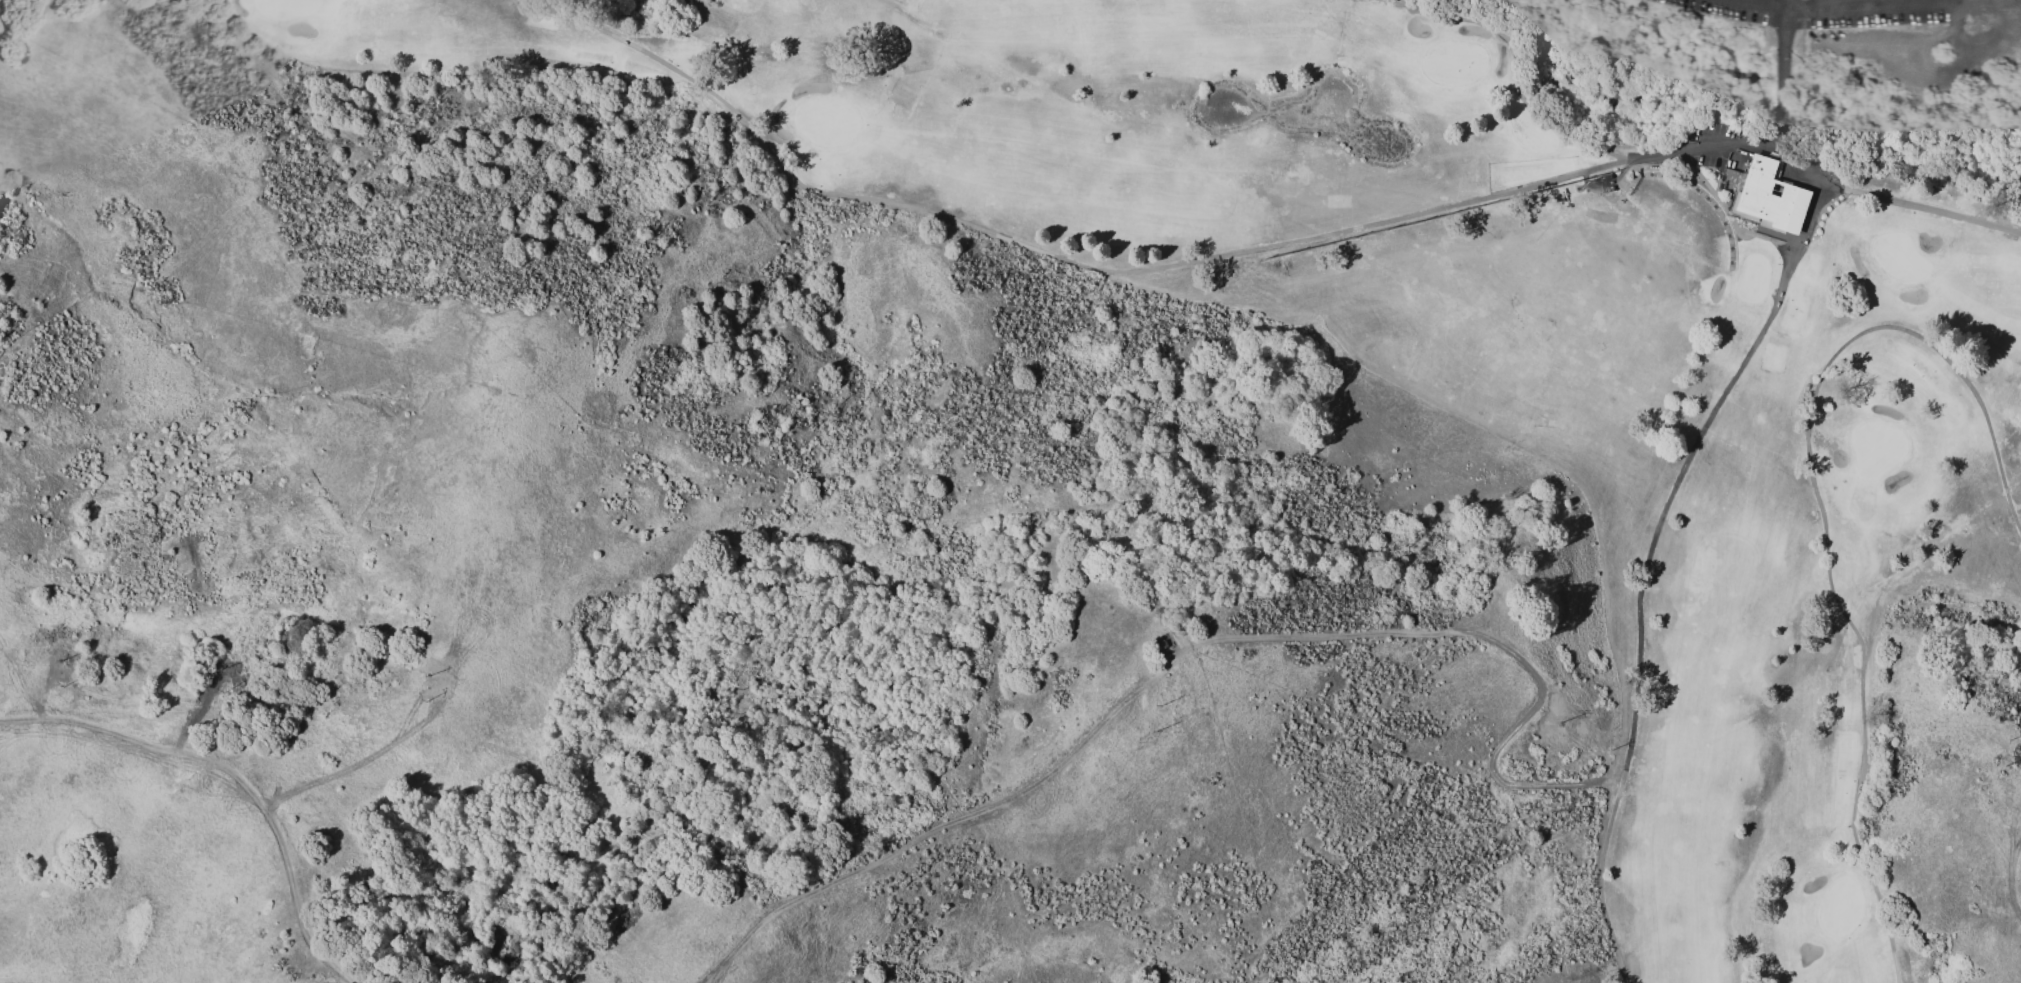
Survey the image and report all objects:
road: (1766, 4)
road: (1785, 4)
road: (1786, 4)
road: (1874, 5)
road: (1783, 46)
road: (1780, 98)
road: (1780, 132)
road: (1588, 143)
building: (1763, 195)
road: (1895, 202)
road: (1051, 259)
park: (1466, 302)
road: (1643, 566)
road: (1199, 645)
road: (231, 776)

